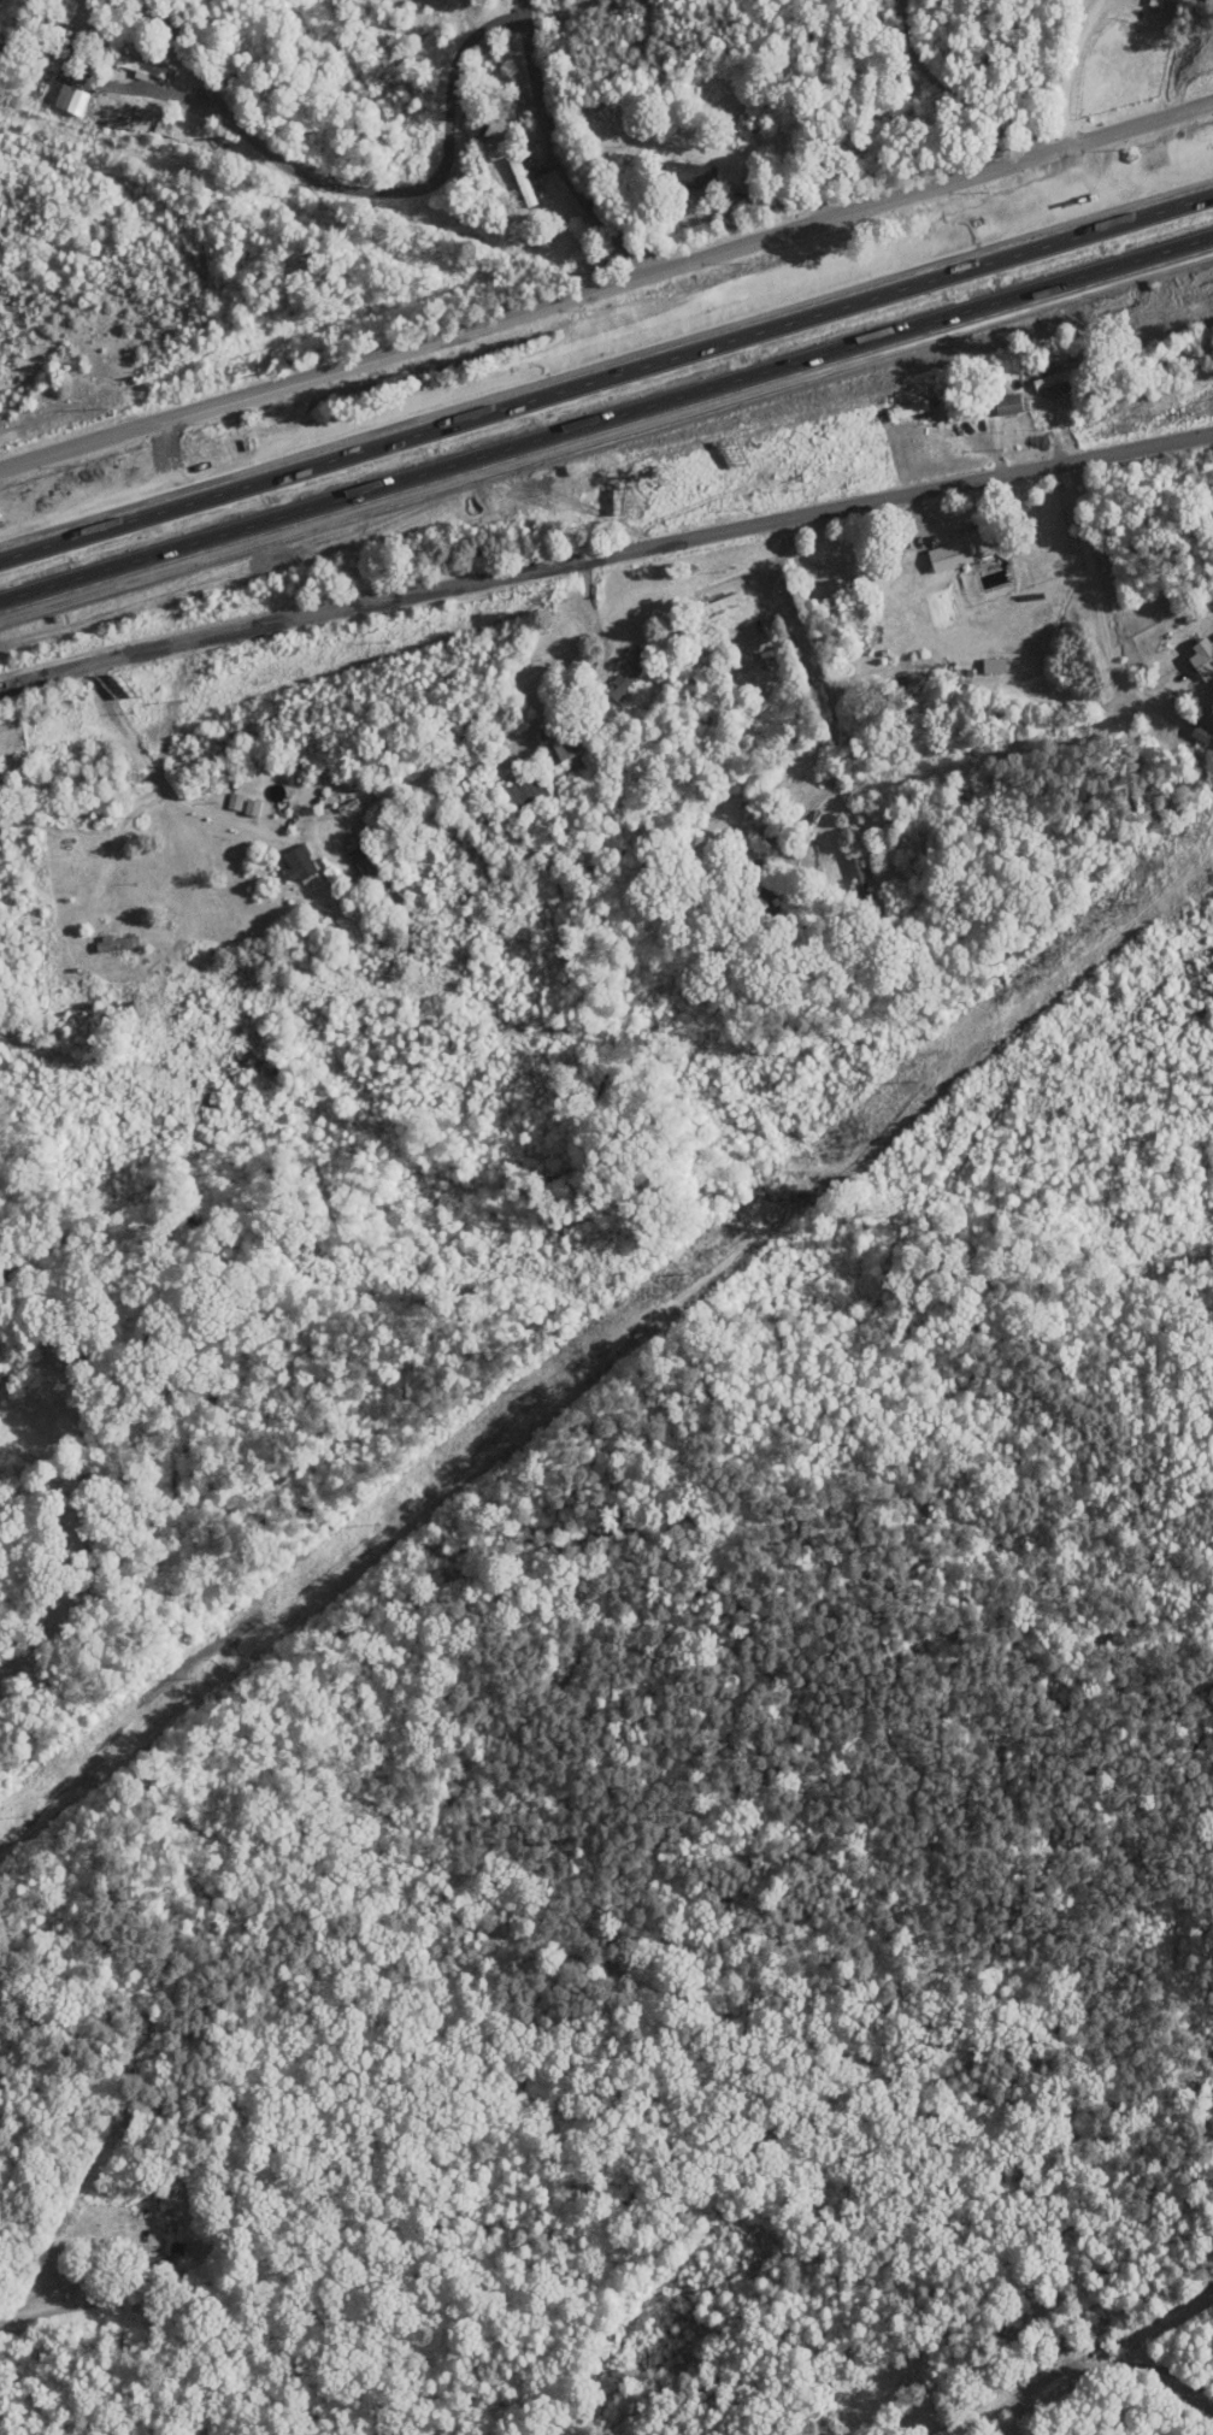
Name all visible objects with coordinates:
road: (183, 52)
building: (129, 58)
road: (1072, 73)
road: (112, 84)
building: (72, 101)
road: (1152, 123)
road: (563, 152)
building: (690, 175)
building: (523, 183)
road: (419, 187)
road: (544, 312)
road: (606, 371)
building: (1061, 381)
building: (1008, 406)
building: (911, 411)
road: (606, 414)
building: (950, 556)
road: (605, 558)
road: (1097, 605)
building: (1203, 660)
building: (772, 662)
building: (626, 683)
road: (829, 685)
building: (558, 742)
building: (1, 779)
road: (159, 779)
building: (467, 790)
building: (760, 802)
building: (236, 803)
building: (516, 804)
building: (254, 808)
building: (363, 861)
building: (300, 863)
building: (860, 880)
building: (118, 944)
building: (158, 2276)
road: (999, 2327)
building: (1090, 2337)
road: (1142, 2364)

